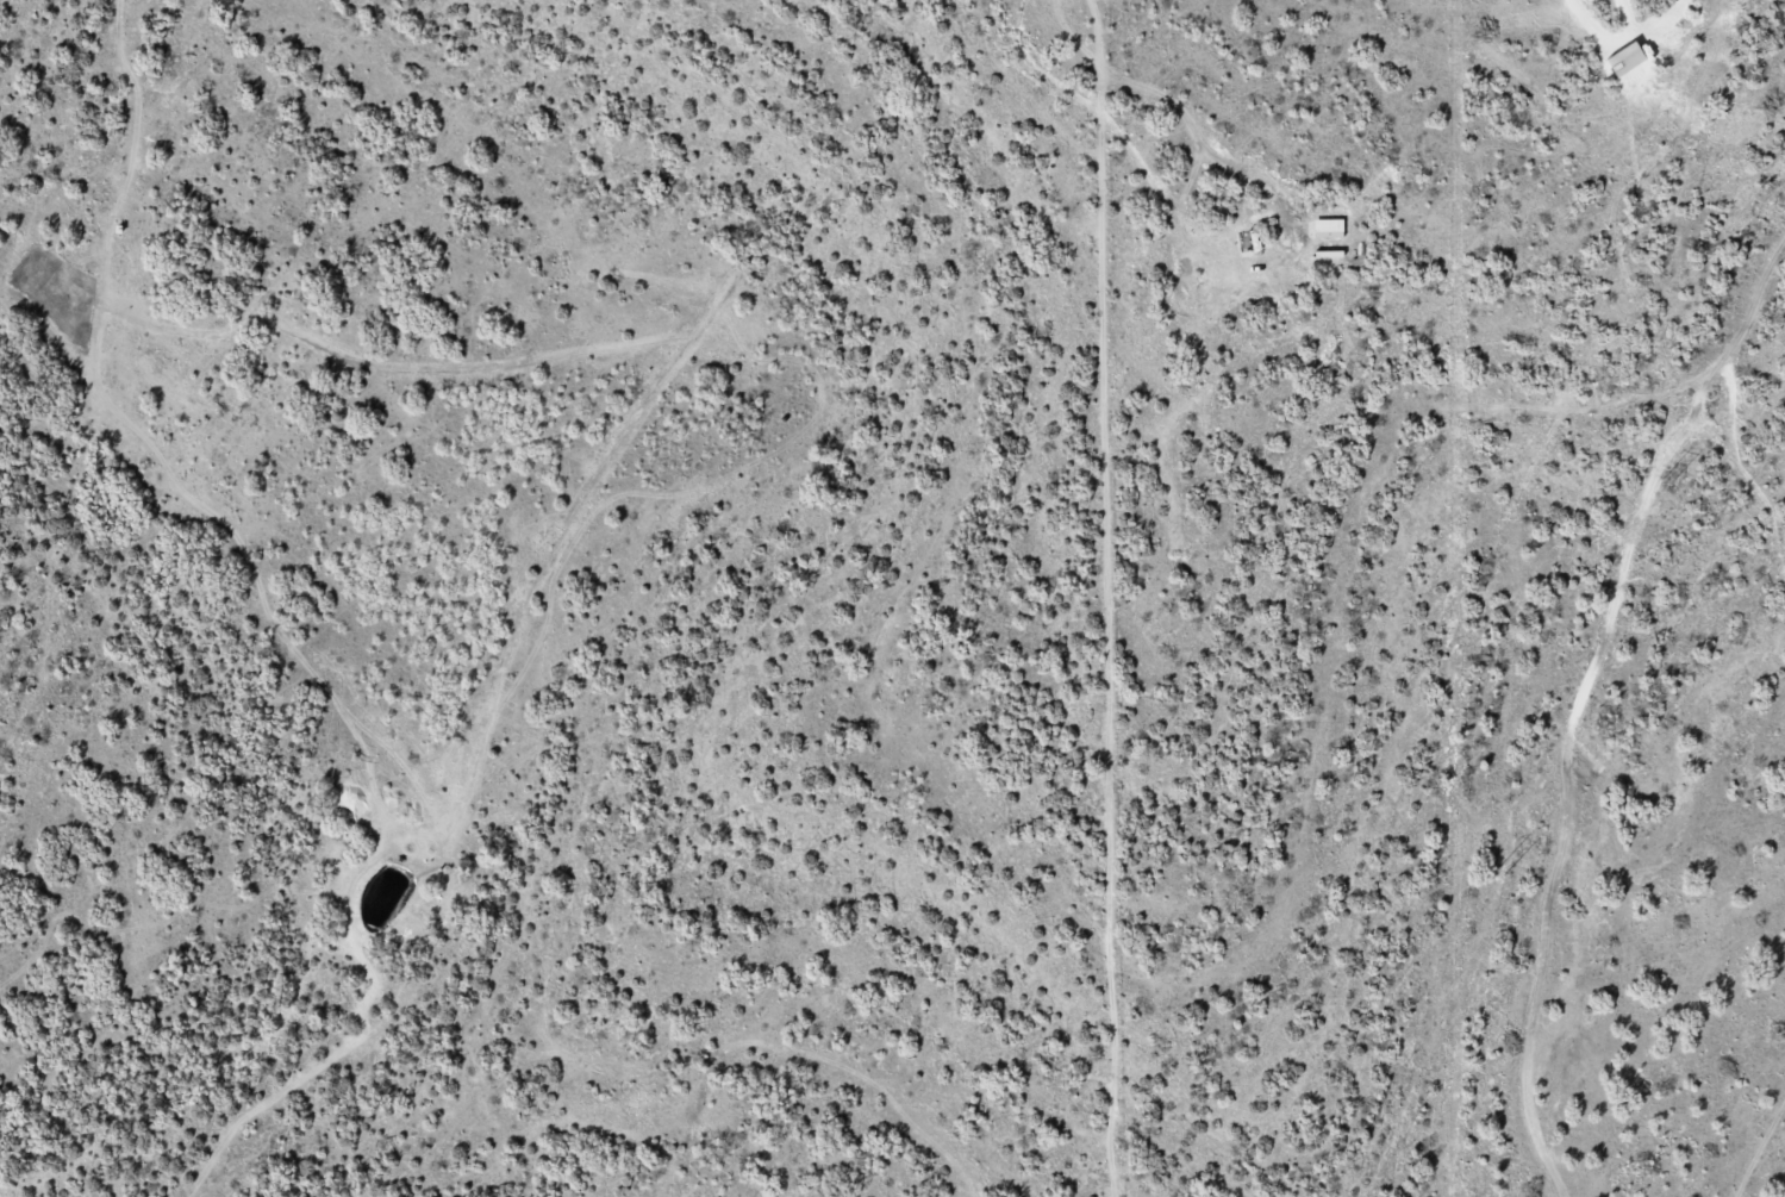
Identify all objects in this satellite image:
power tower: (1666, 478)
road: (1043, 598)
power tower: (1500, 871)
road: (1756, 1130)

